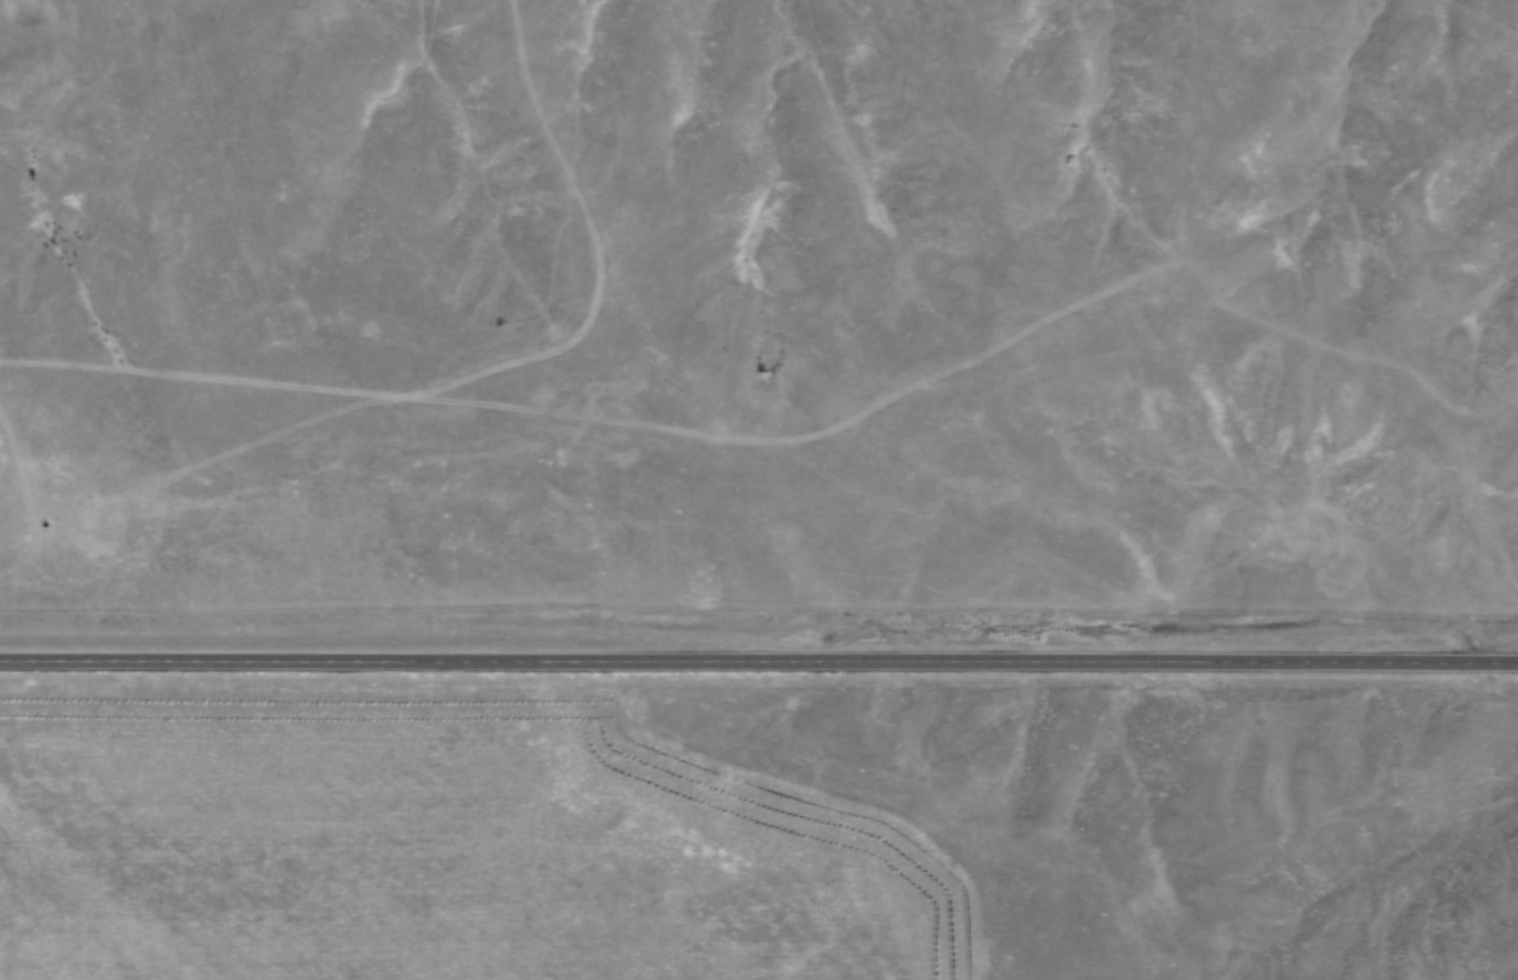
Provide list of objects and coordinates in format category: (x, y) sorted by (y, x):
road: (759, 659)

